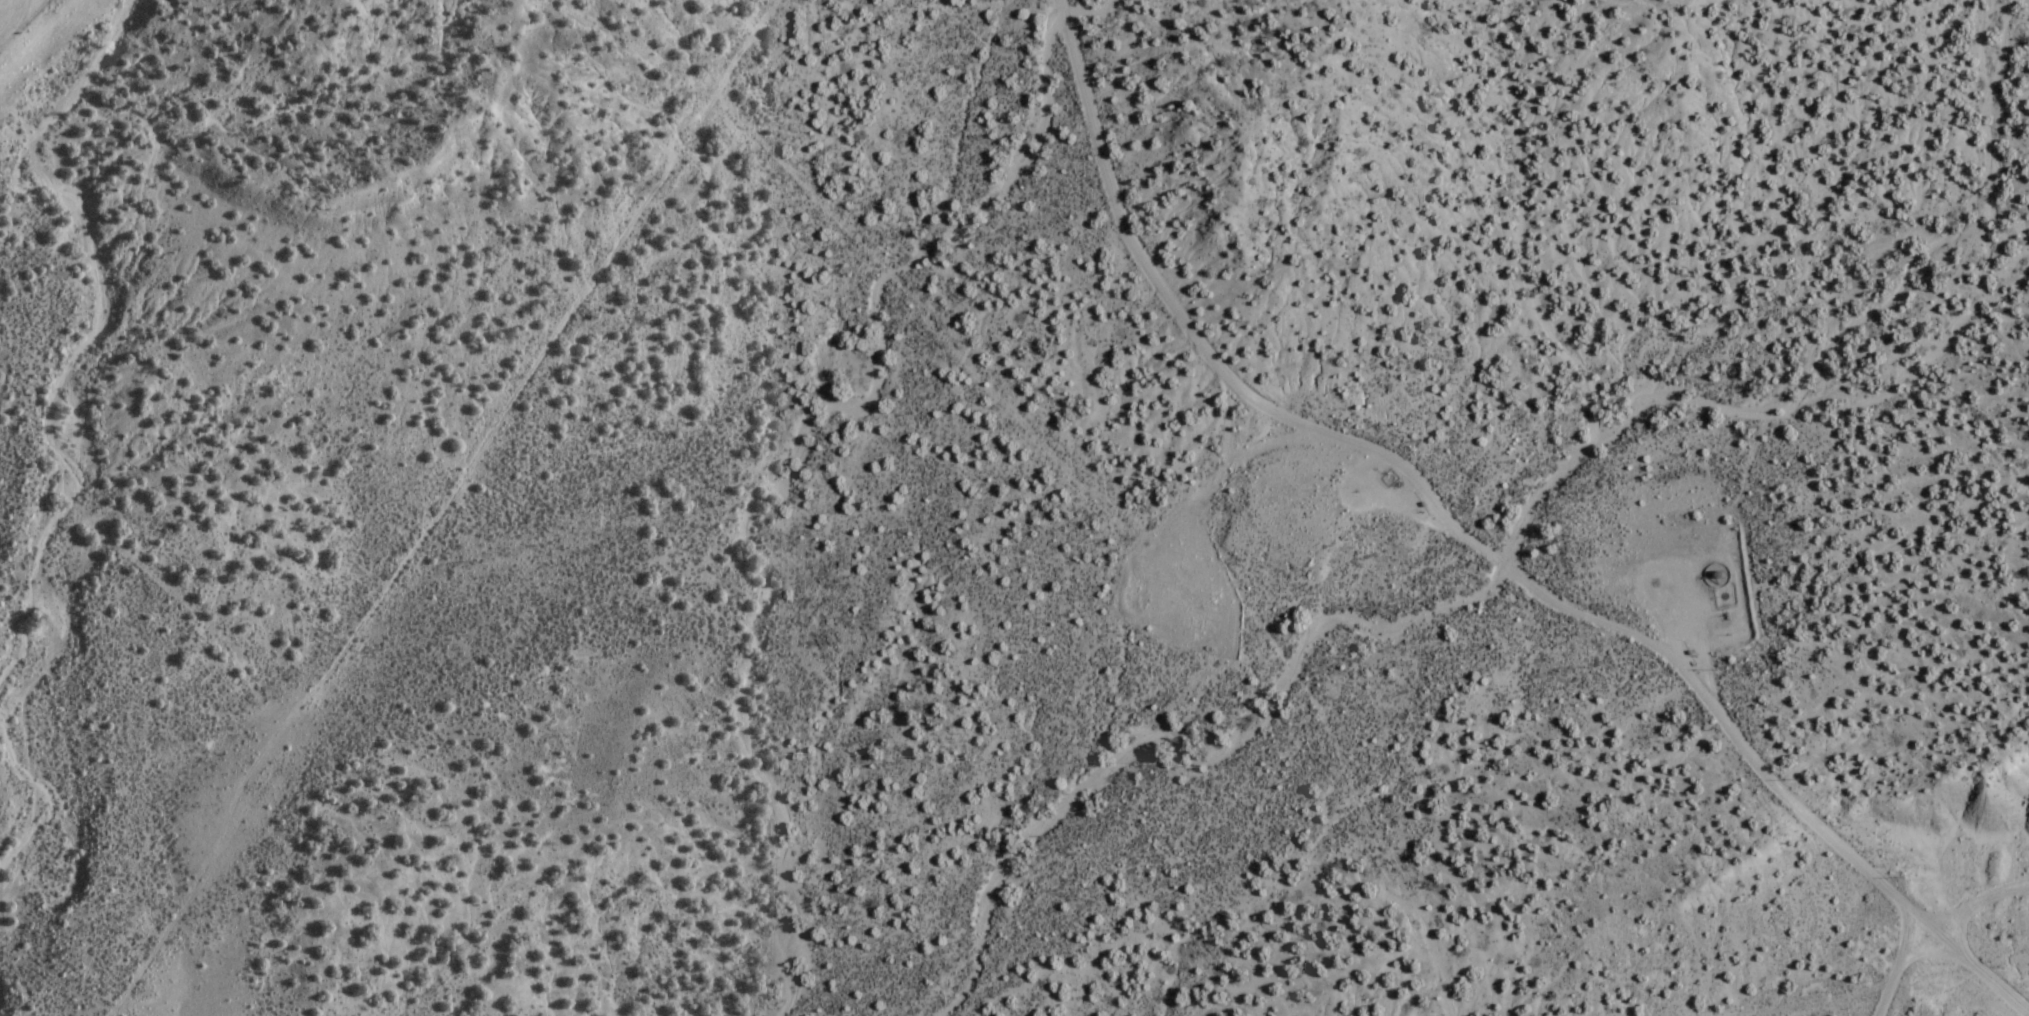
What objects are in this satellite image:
road: (1278, 409)
road: (1675, 630)
road: (1834, 835)
road: (1905, 927)
road: (1913, 956)
road: (1983, 967)

